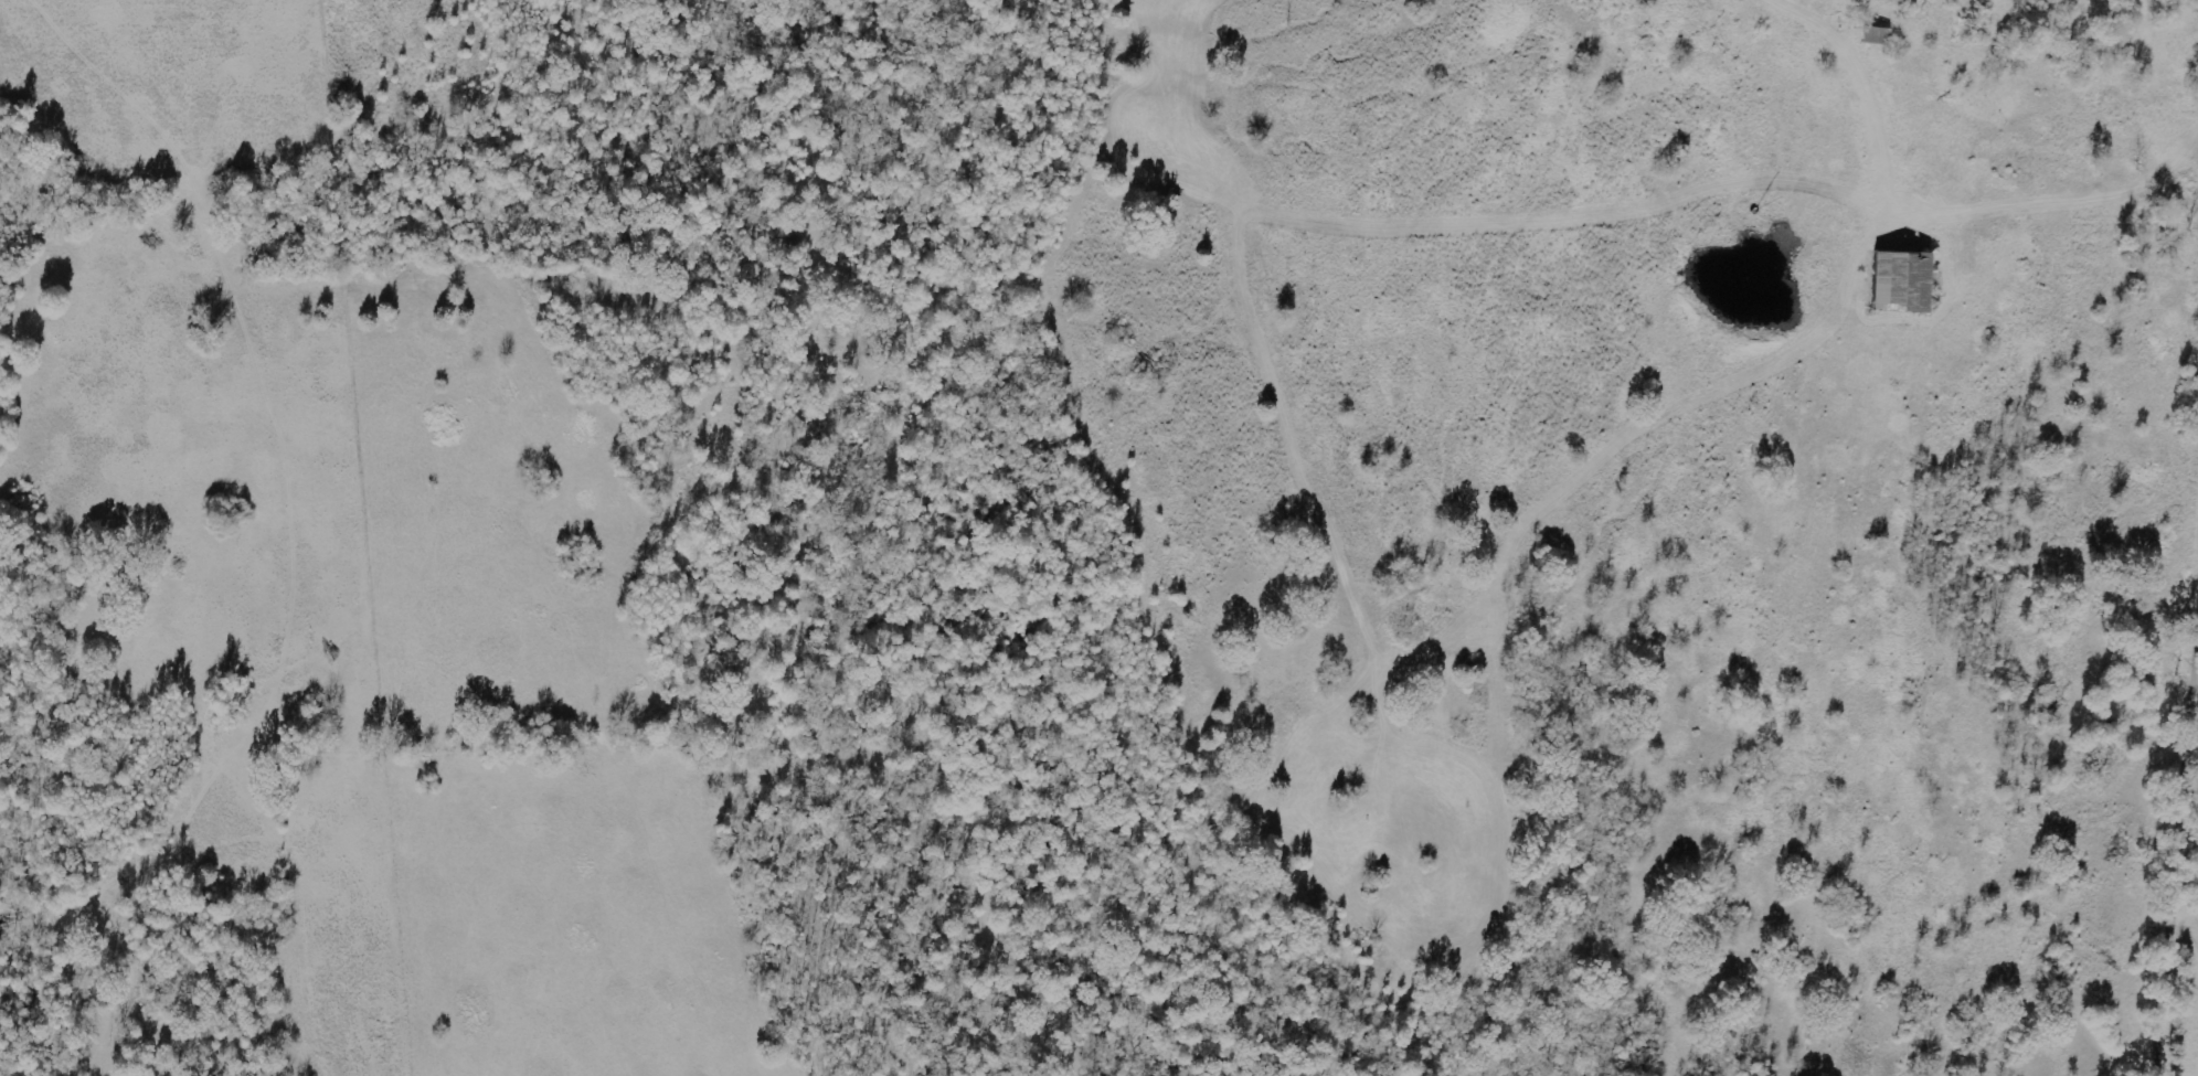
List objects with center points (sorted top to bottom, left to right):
building: (1898, 283)

